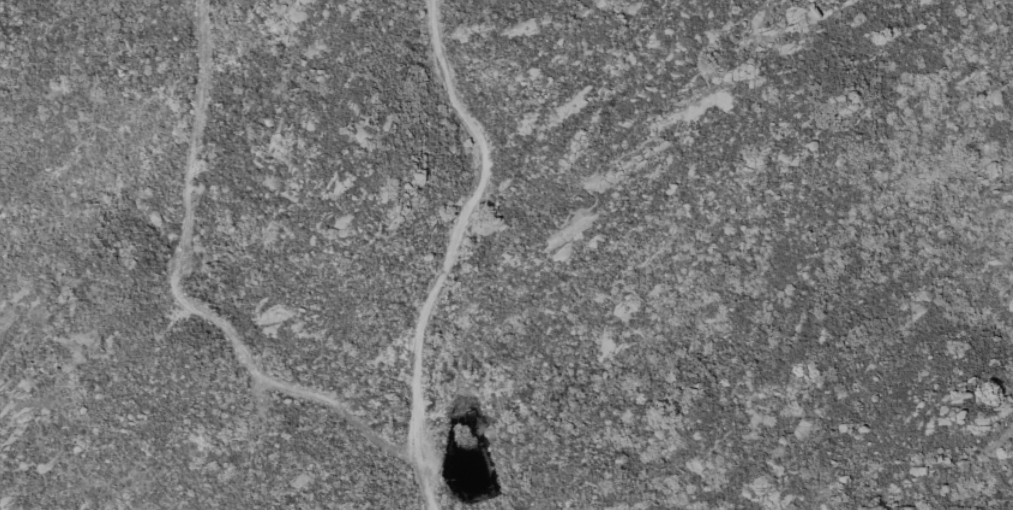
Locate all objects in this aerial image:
road: (453, 250)
park: (782, 252)

